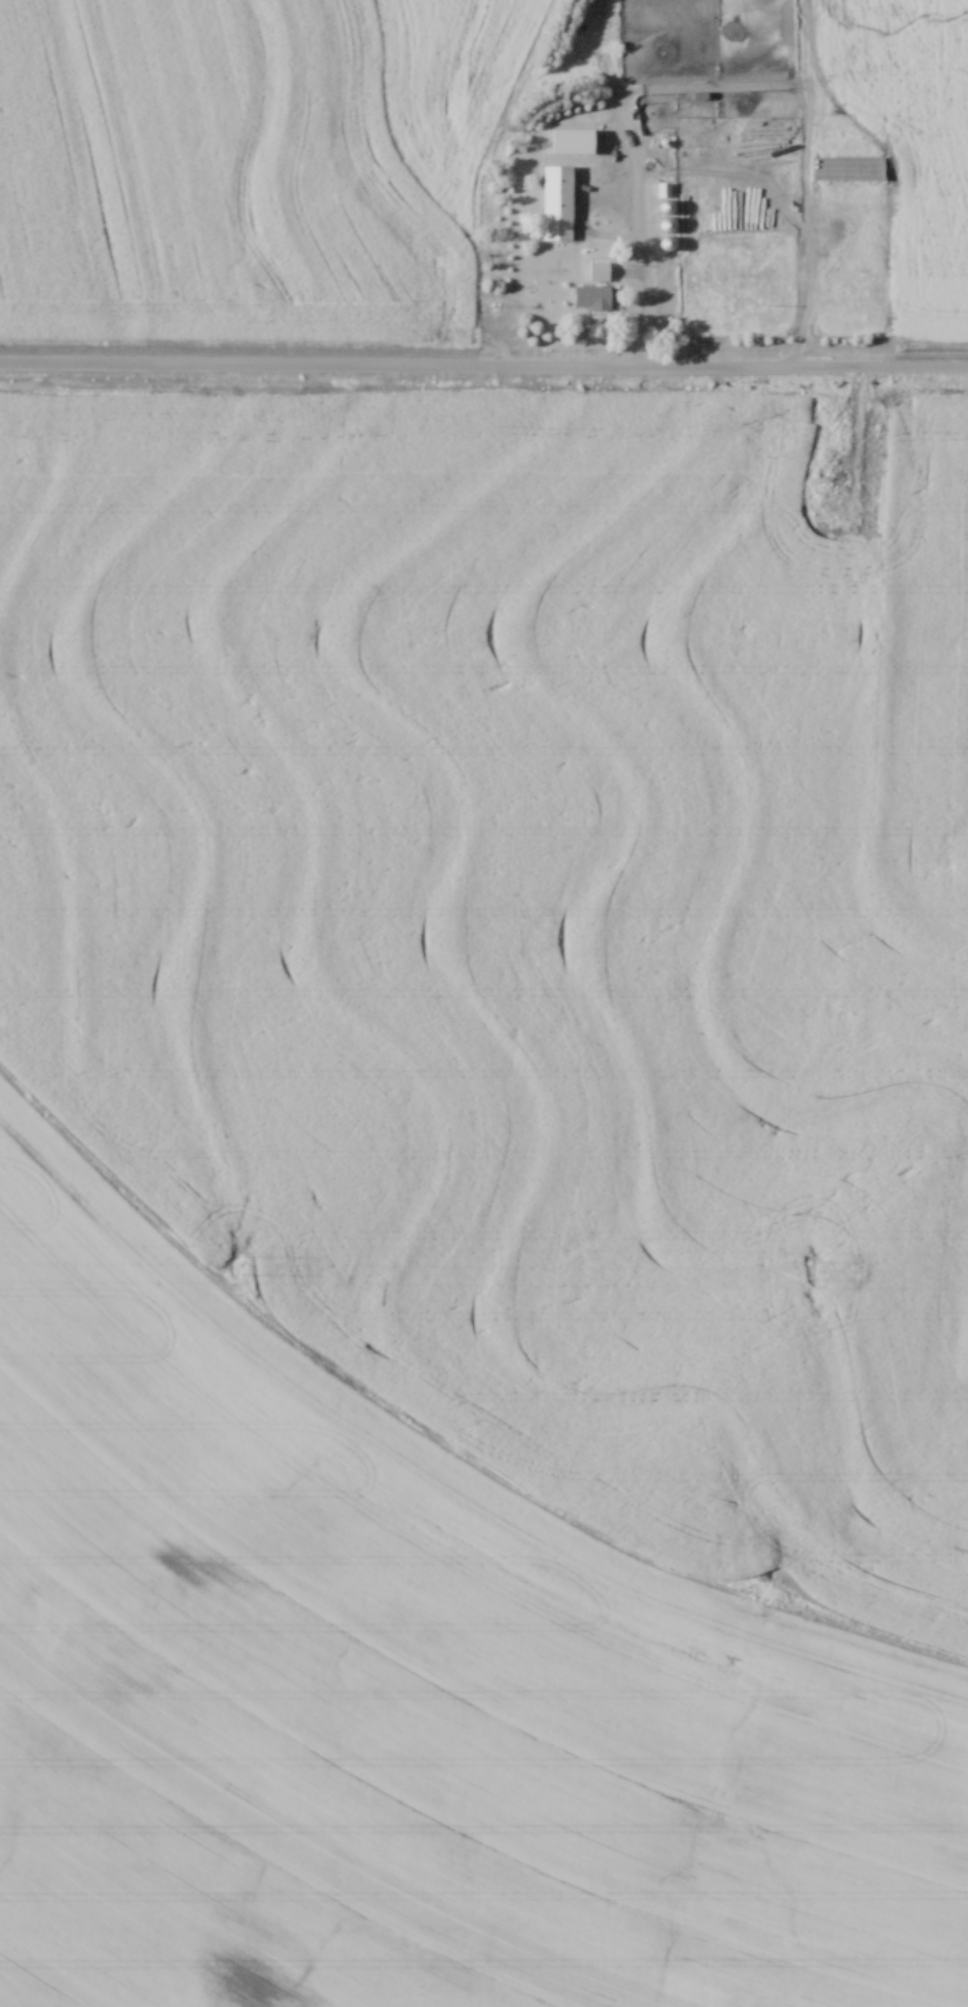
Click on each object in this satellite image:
building: (570, 141)
building: (845, 165)
building: (552, 200)
building: (594, 268)
road: (815, 270)
building: (587, 295)
road: (483, 367)
road: (857, 417)
building: (830, 482)
road: (833, 505)
power tower: (250, 1263)
power tower: (807, 1266)

